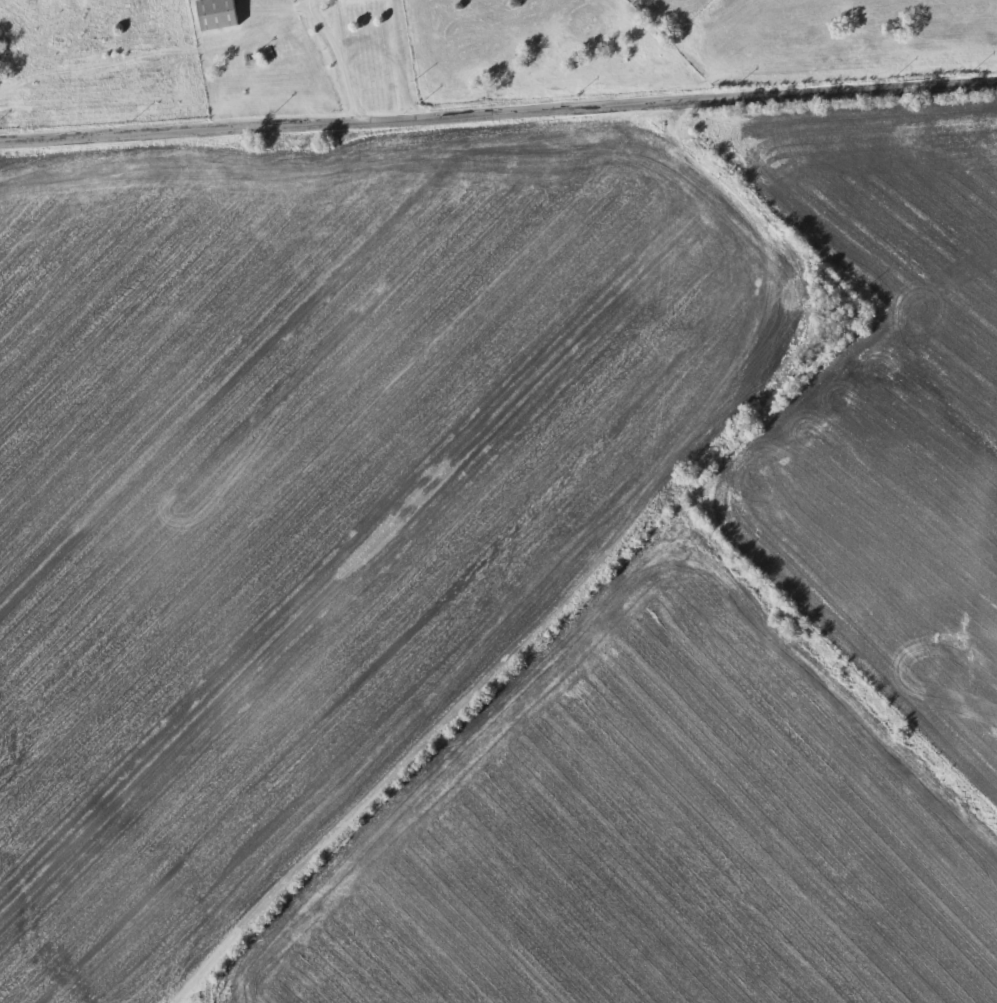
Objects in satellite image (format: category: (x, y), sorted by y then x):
building: (212, 13)
road: (339, 64)
road: (498, 115)
road: (619, 549)

